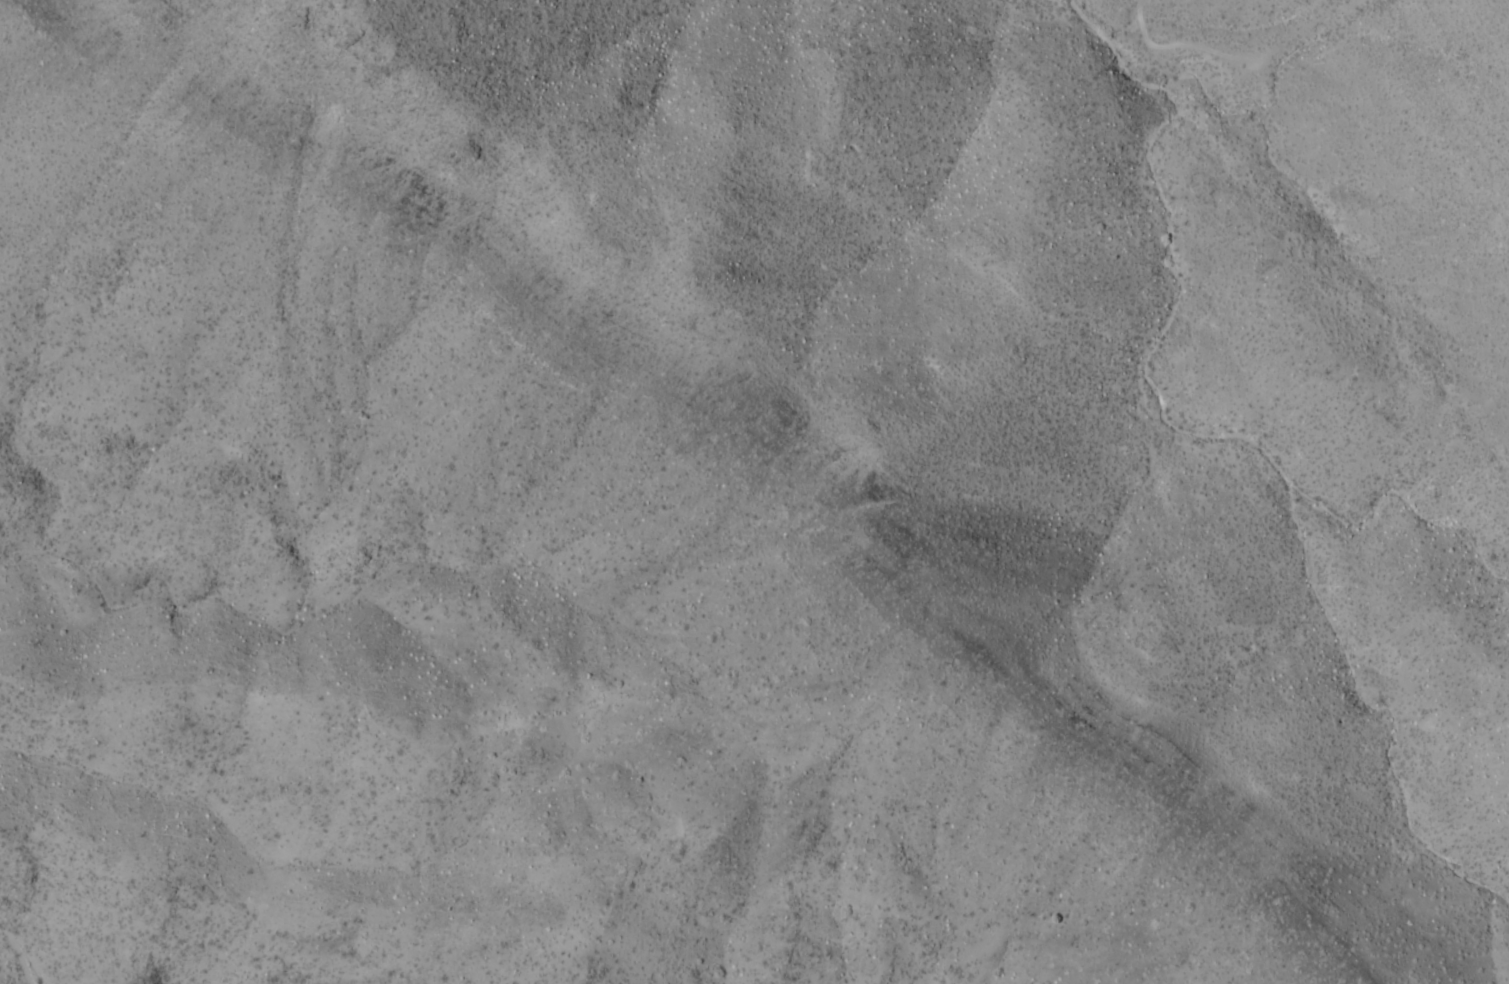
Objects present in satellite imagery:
road: (1177, 44)

